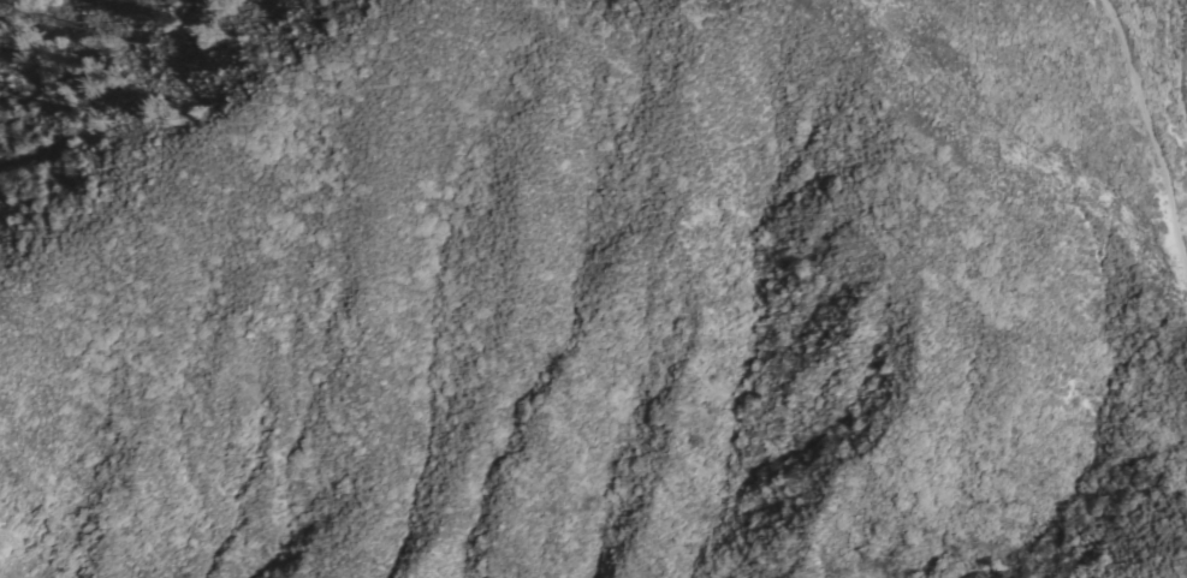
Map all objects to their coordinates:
road: (1174, 71)
road: (1149, 135)

